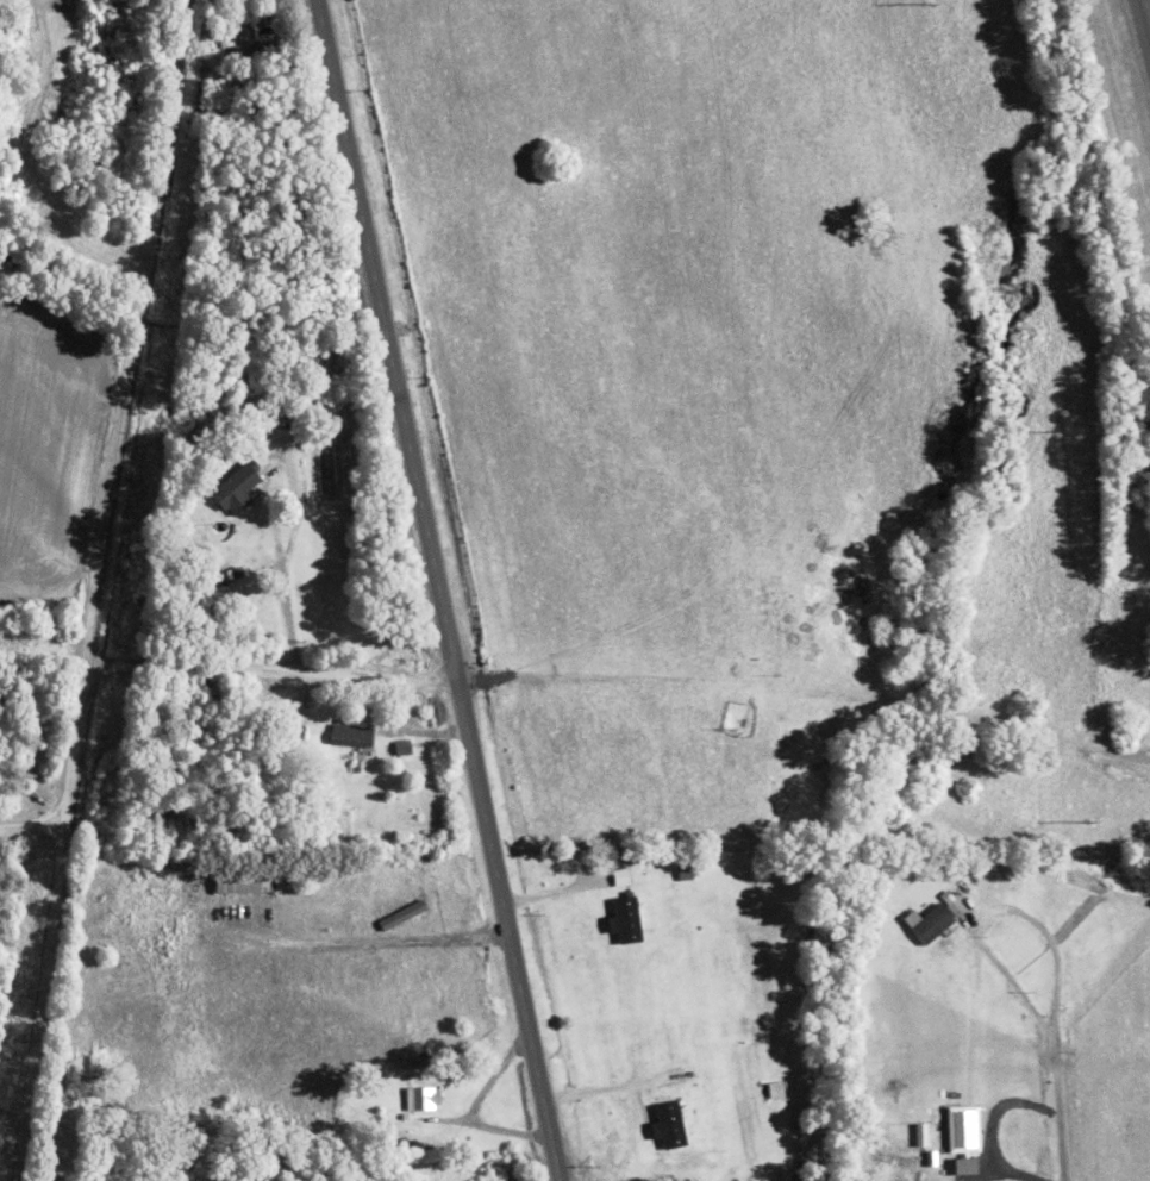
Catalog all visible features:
power tower: (929, 0)
road: (1145, 15)
building: (225, 27)
building: (254, 51)
road: (132, 331)
power tower: (1057, 430)
building: (249, 537)
road: (436, 590)
road: (268, 670)
building: (351, 735)
power tower: (1088, 820)
road: (31, 825)
building: (427, 870)
building: (244, 881)
road: (49, 921)
building: (424, 1096)
road: (1052, 1106)
road: (986, 1127)

